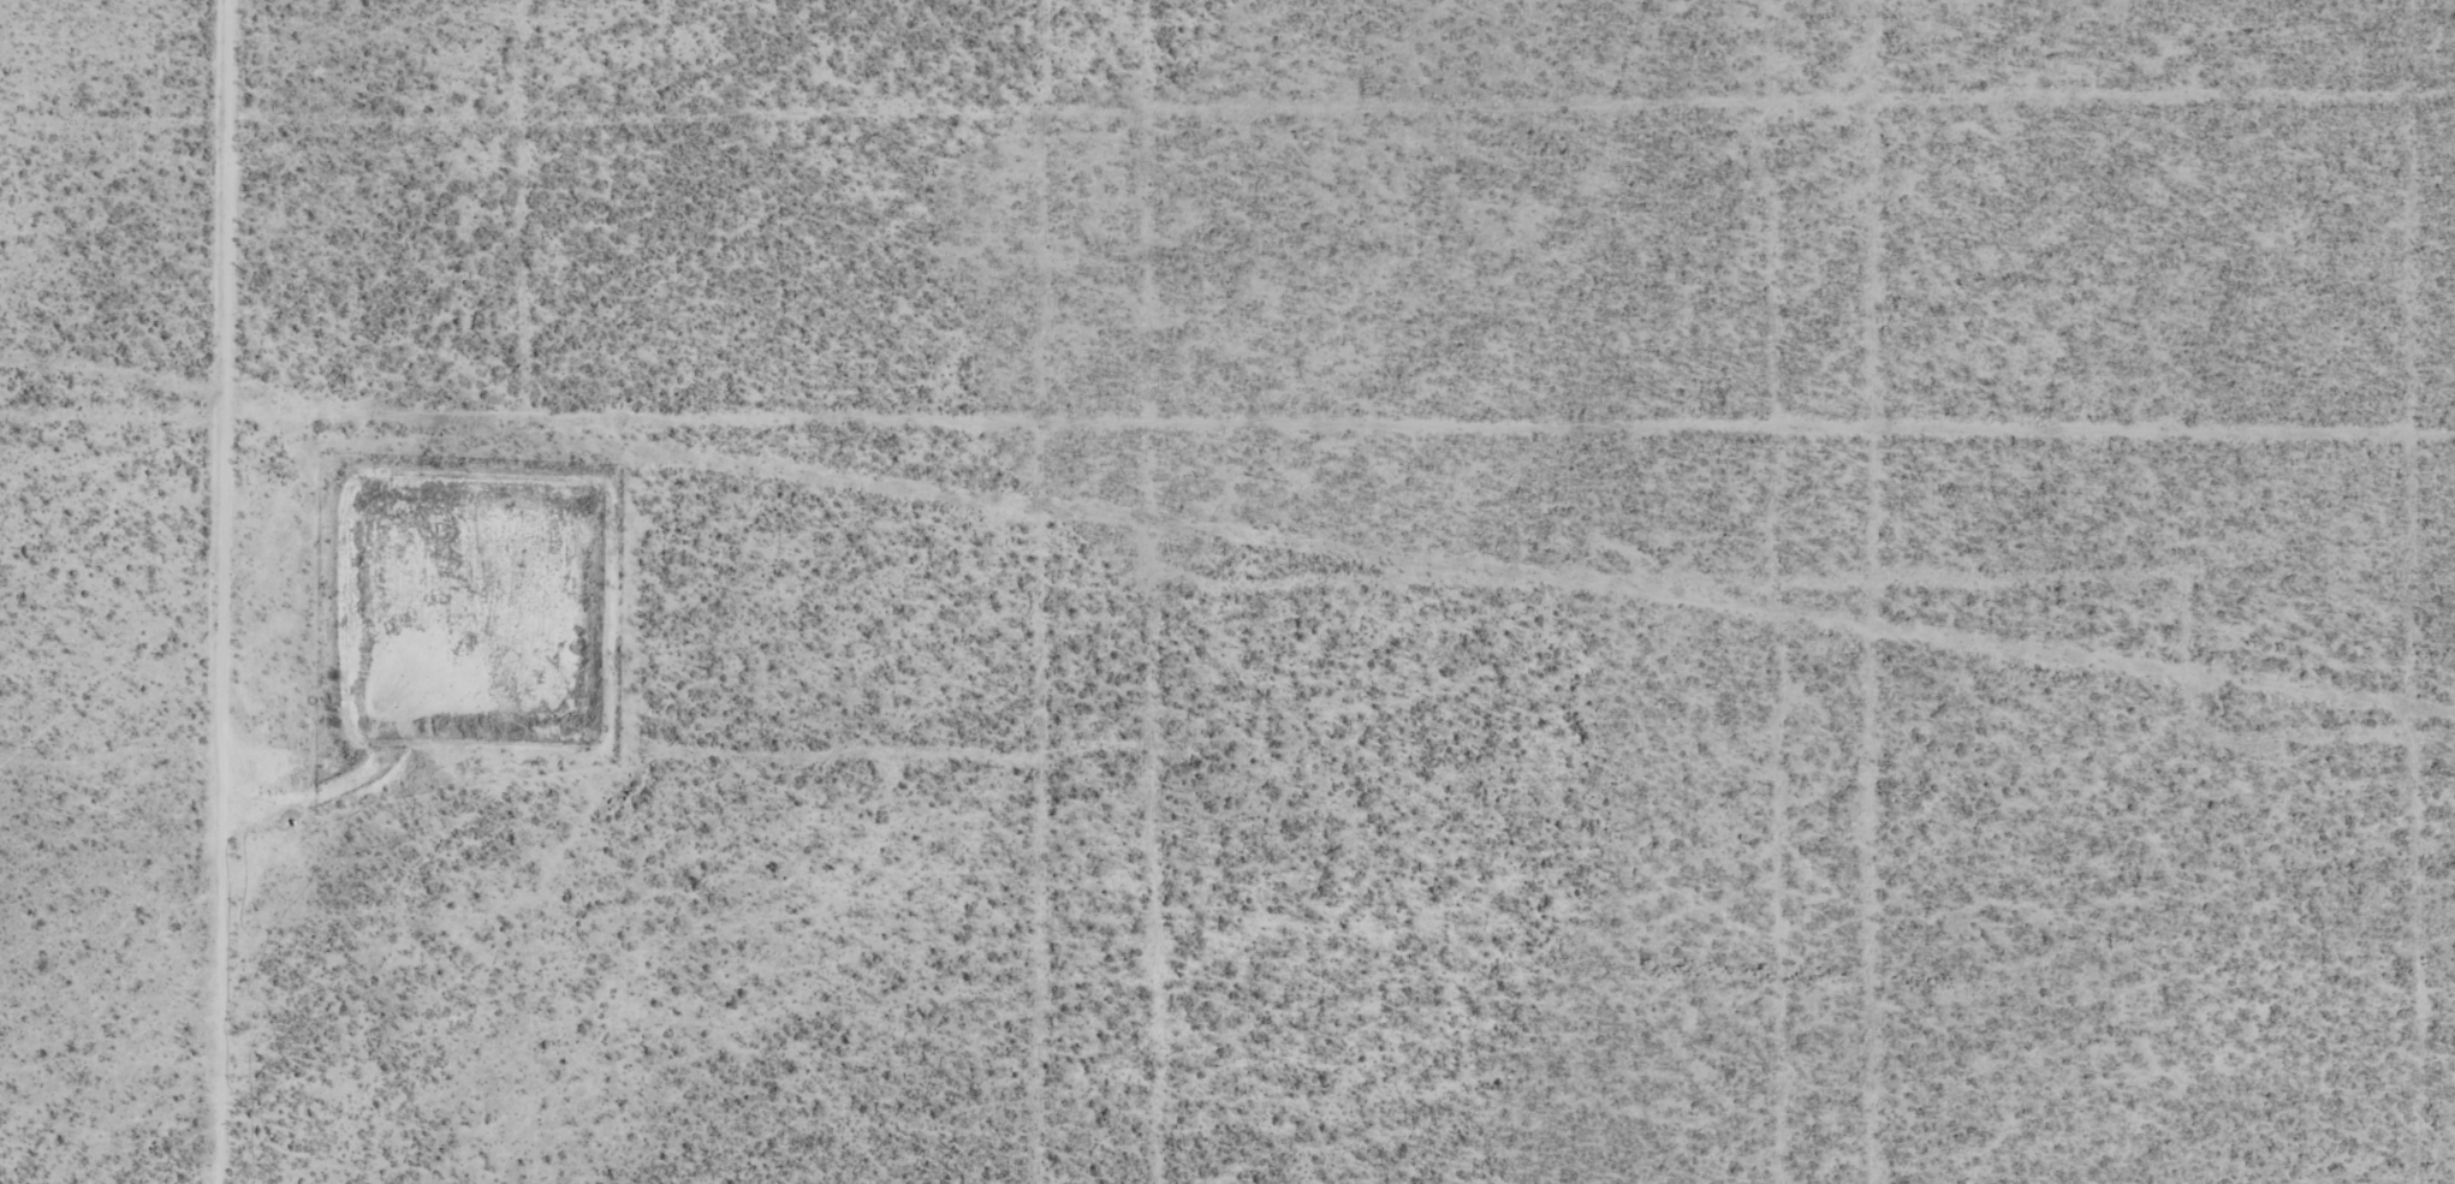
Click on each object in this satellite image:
road: (239, 591)

